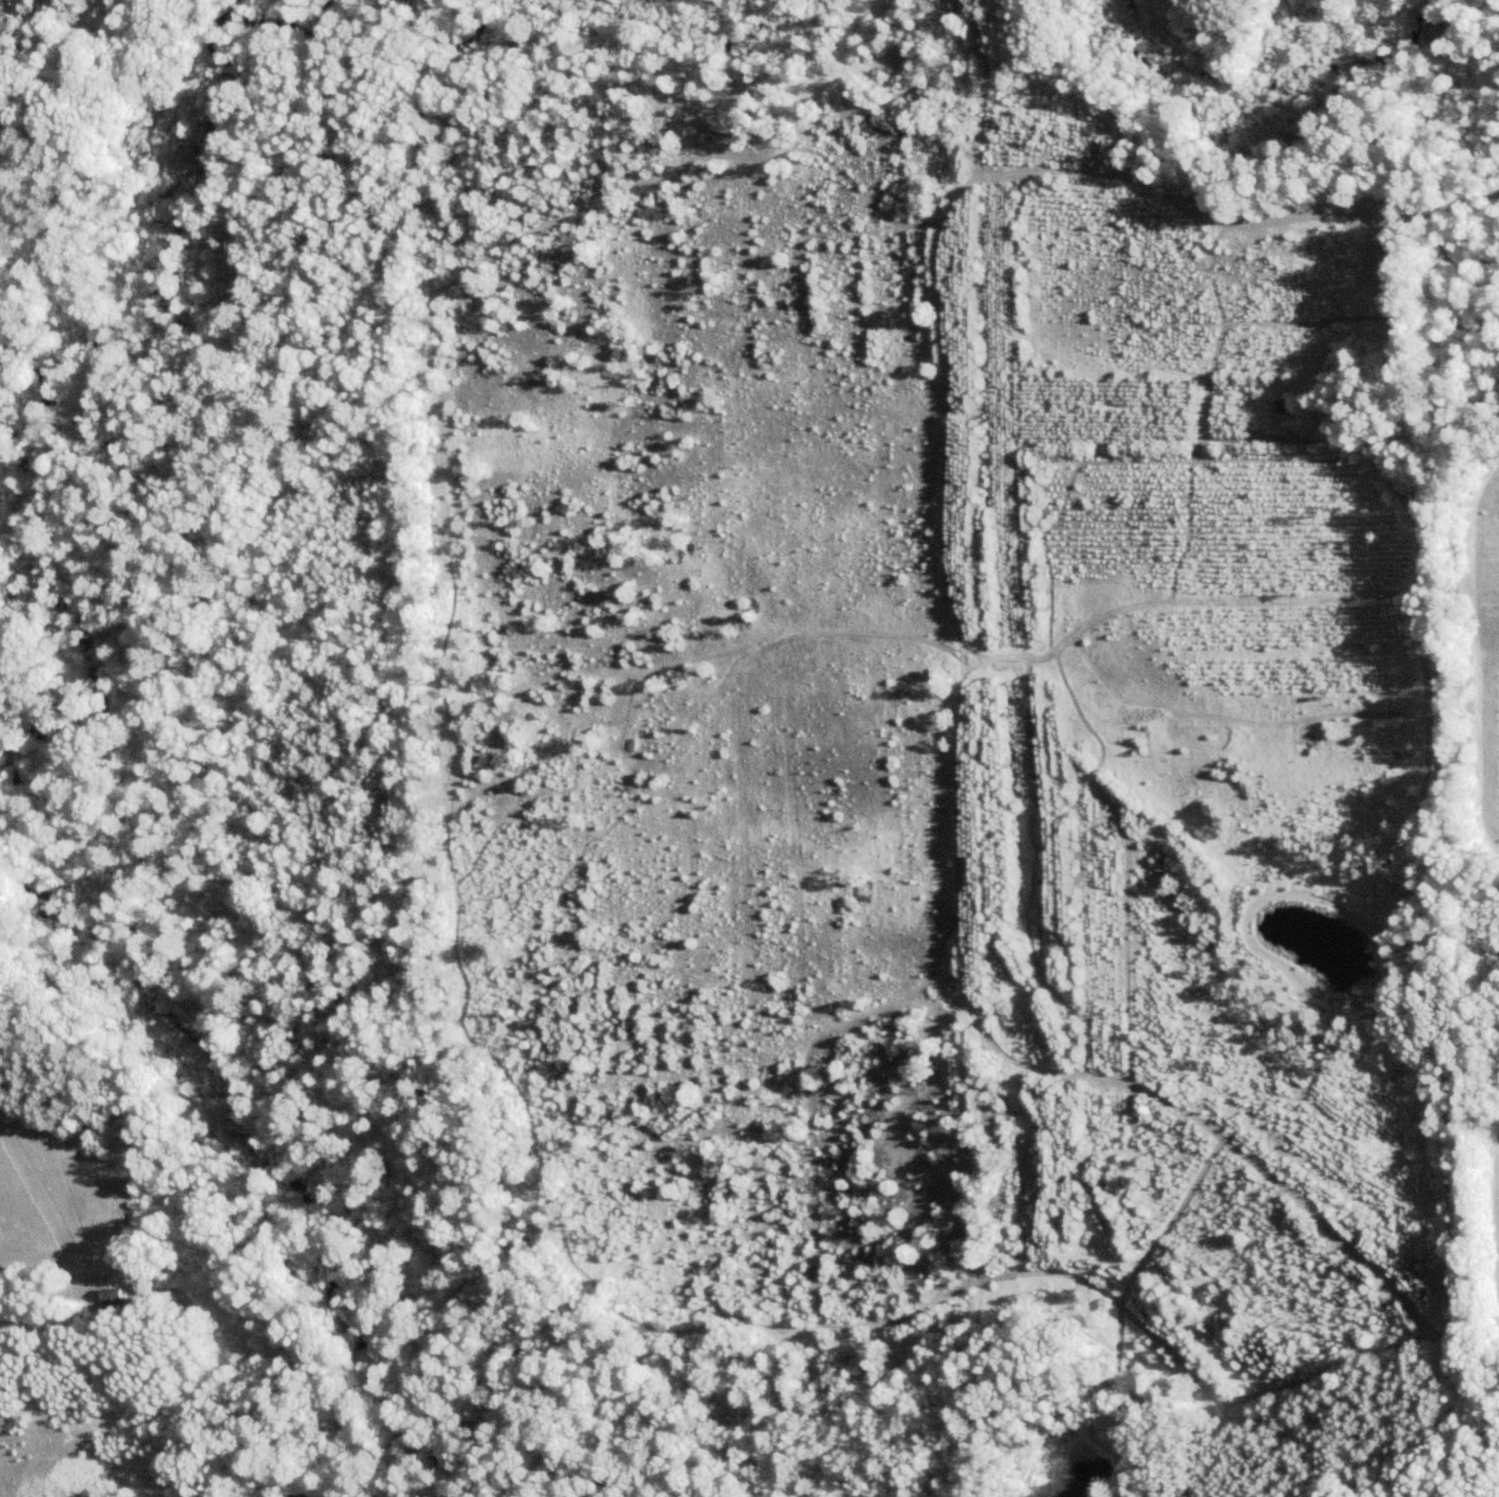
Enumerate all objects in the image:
road: (46, 1249)

